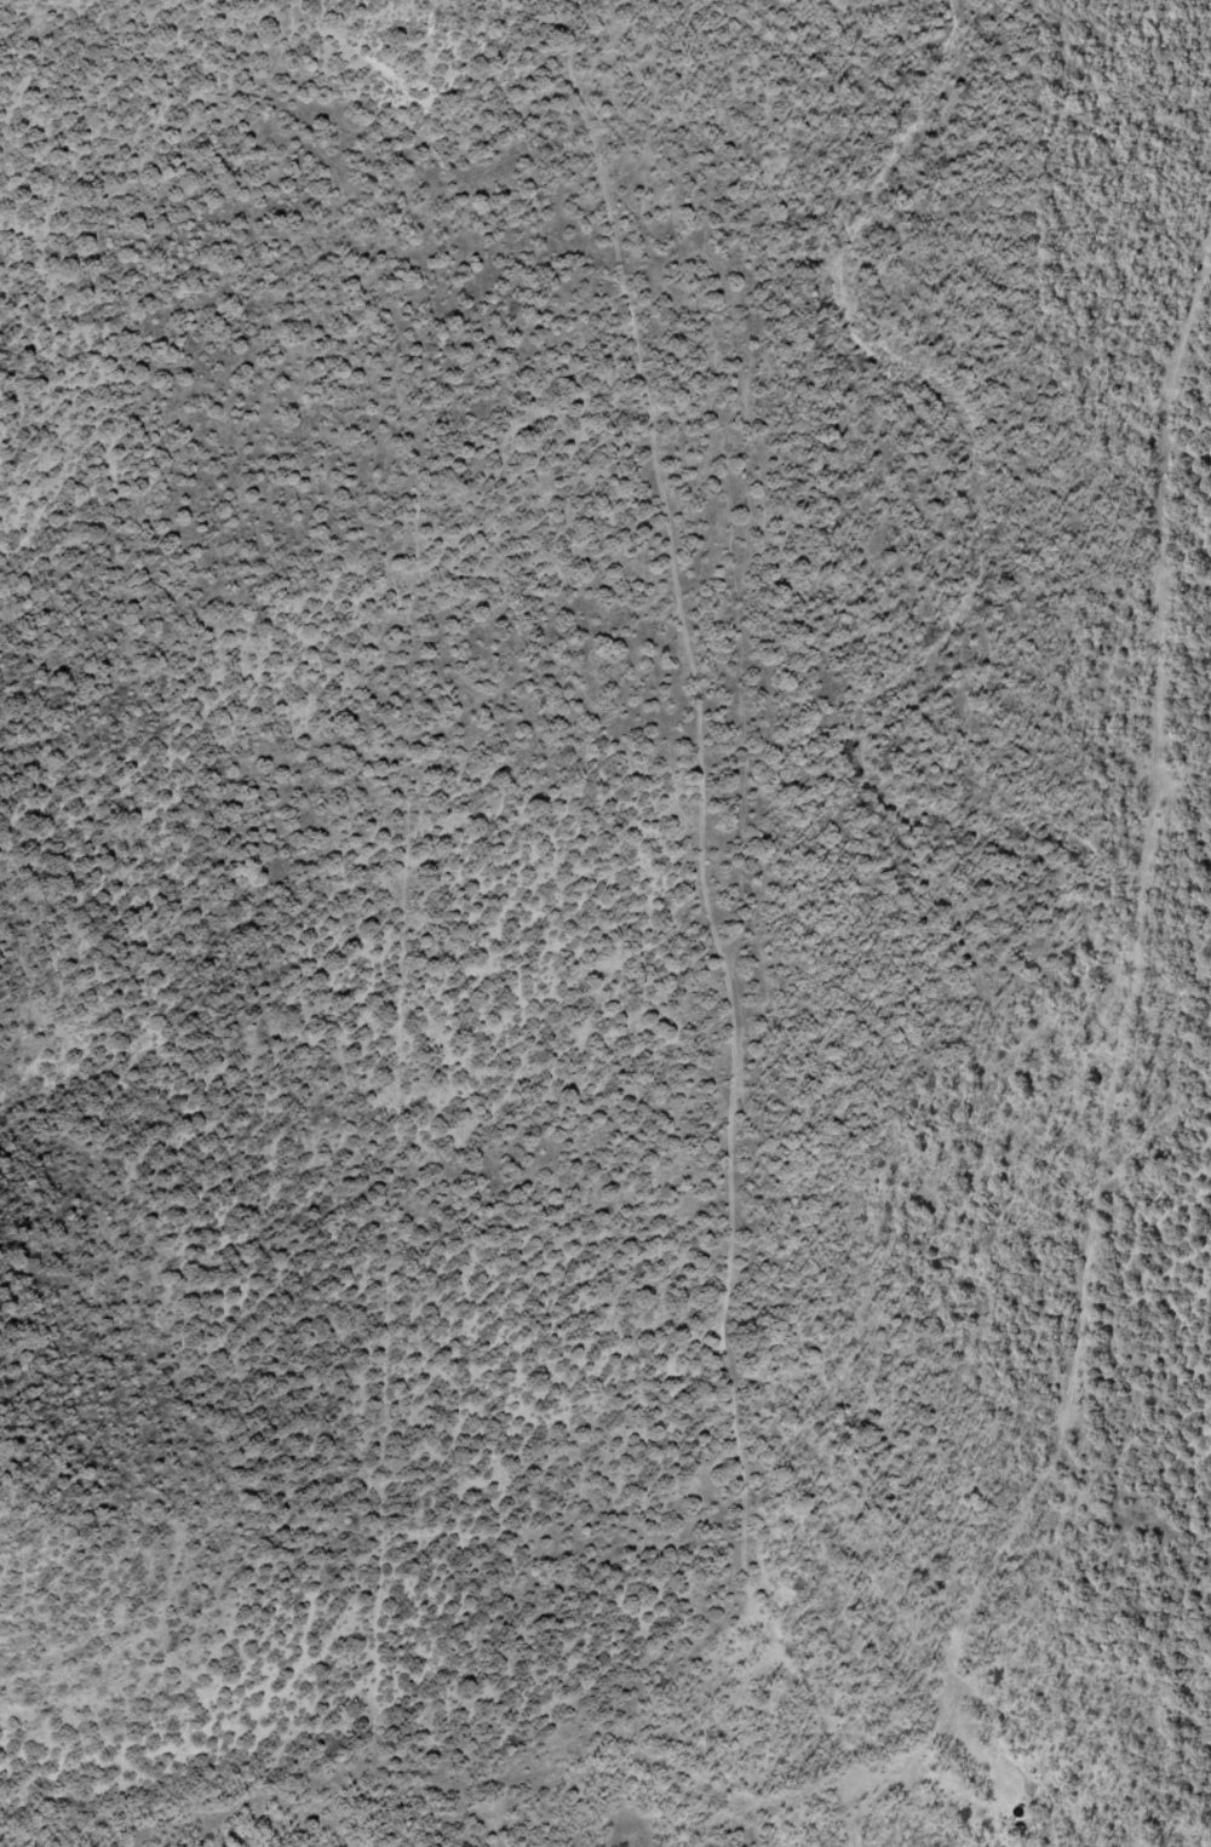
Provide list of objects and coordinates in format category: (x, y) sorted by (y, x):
road: (1123, 1057)

